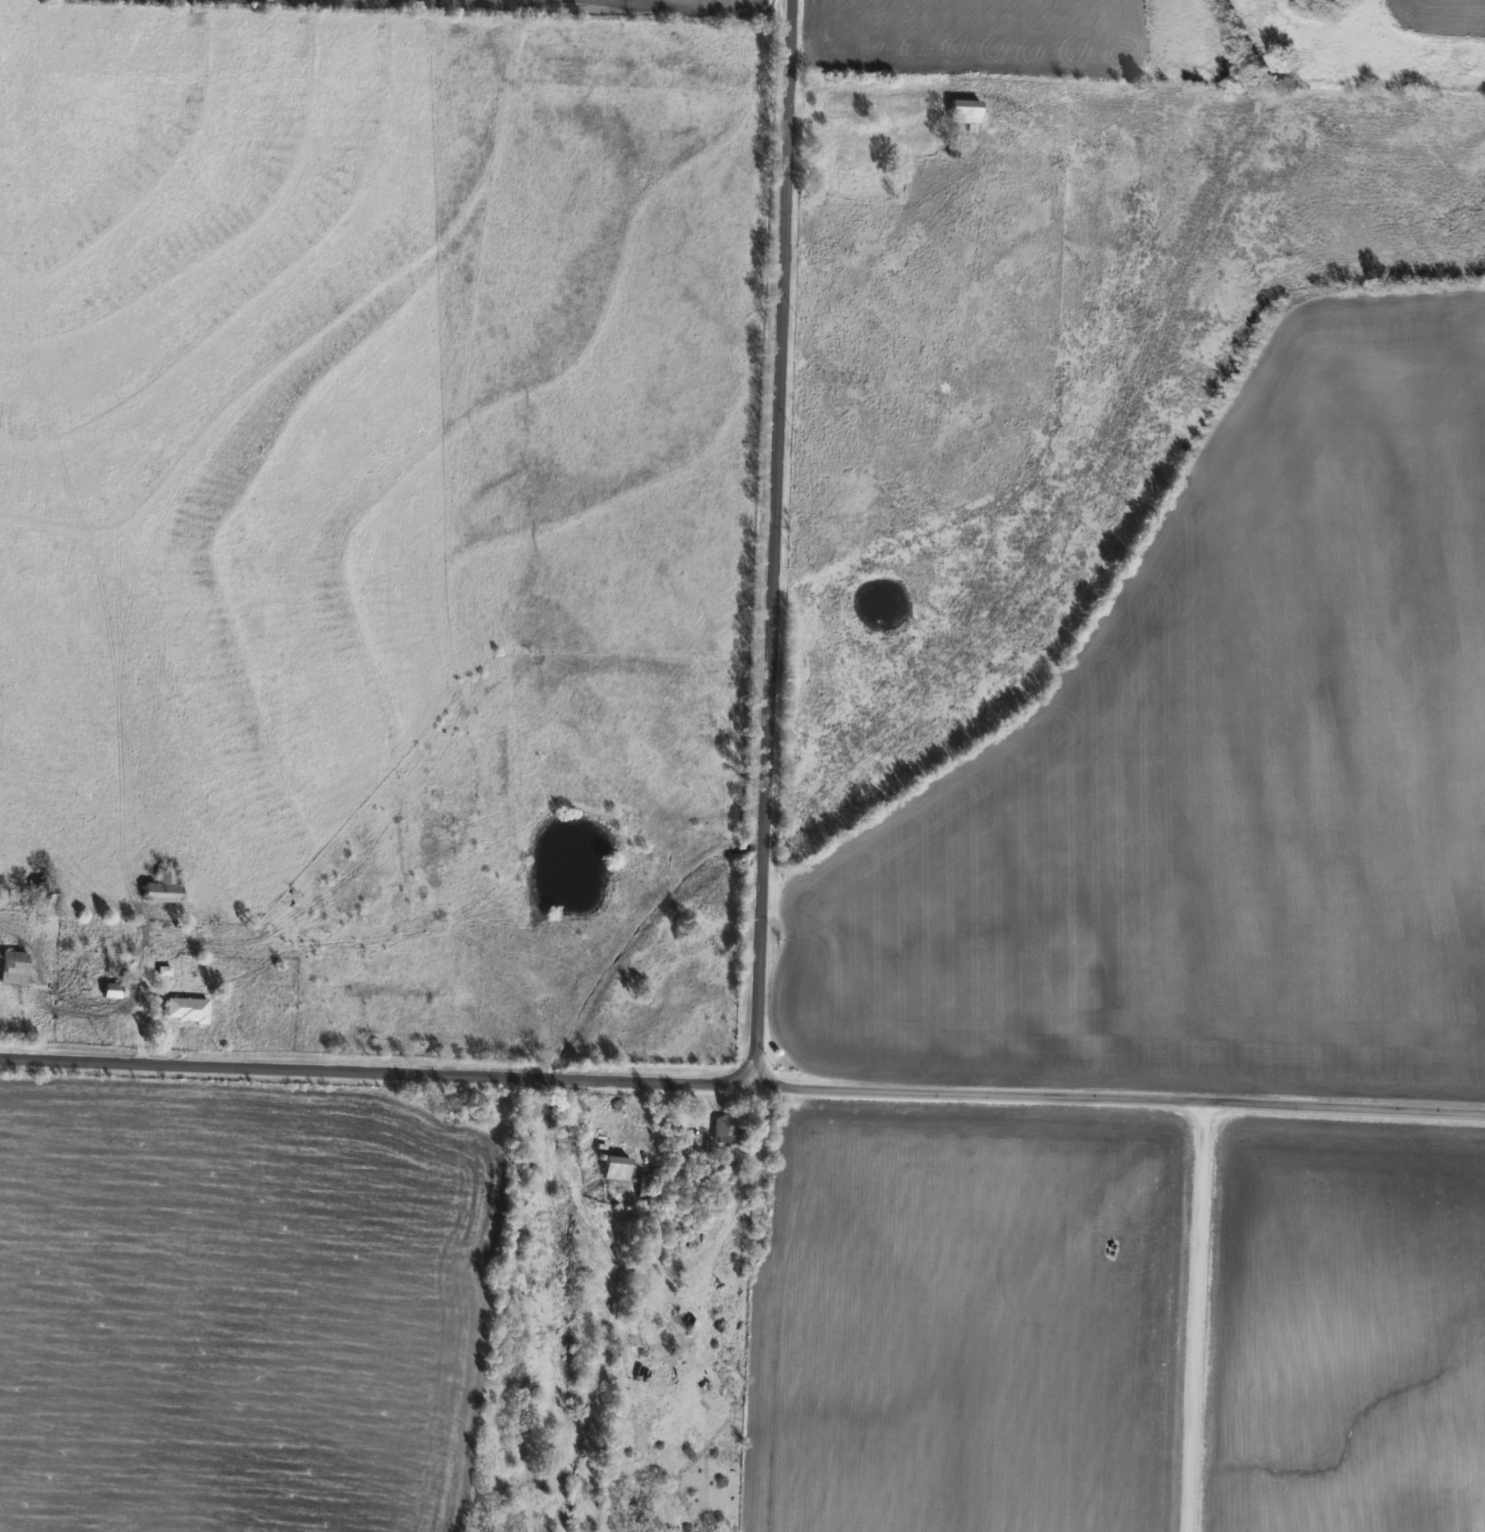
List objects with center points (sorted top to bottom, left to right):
building: (964, 111)
building: (839, 165)
road: (771, 543)
building: (164, 886)
building: (45, 897)
building: (13, 967)
building: (112, 989)
building: (187, 1008)
road: (376, 1072)
road: (1118, 1098)
building: (727, 1131)
building: (616, 1166)
road: (1195, 1316)

